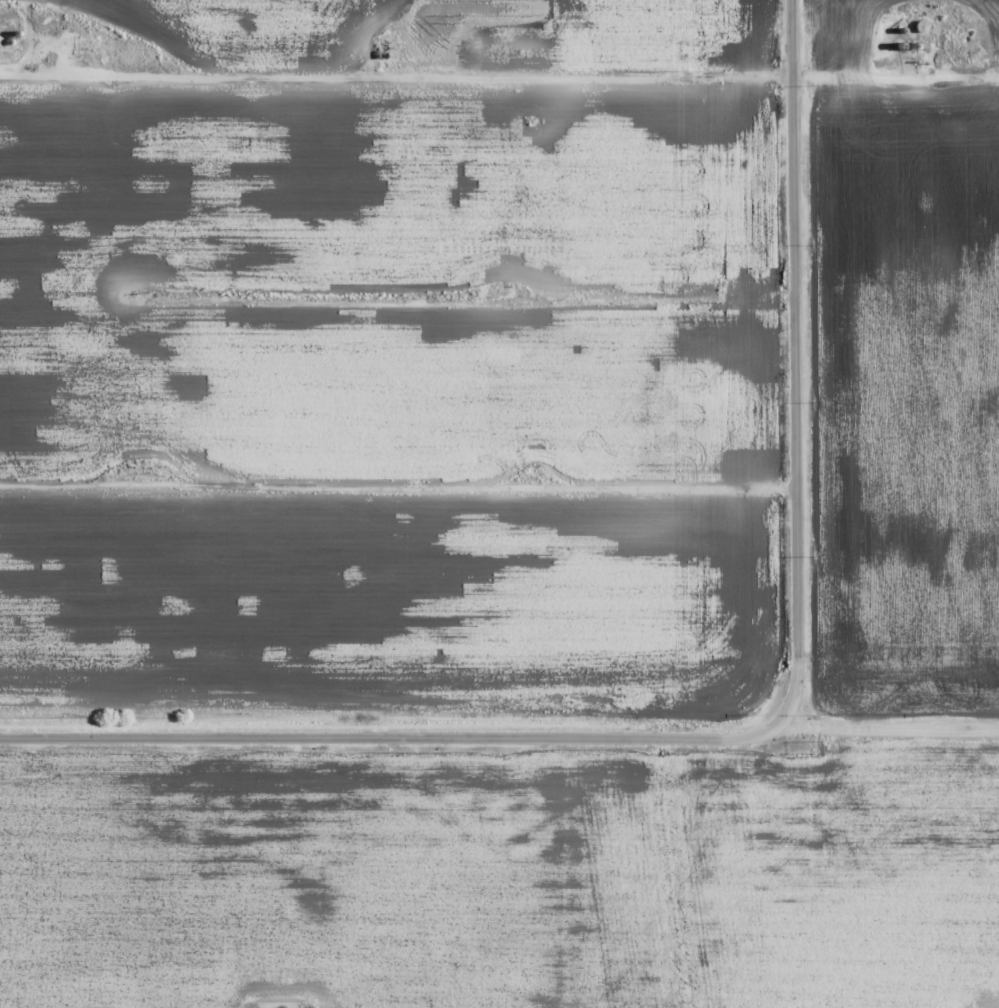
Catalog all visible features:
building: (383, 46)
road: (499, 75)
road: (808, 375)
road: (404, 480)
road: (501, 757)

